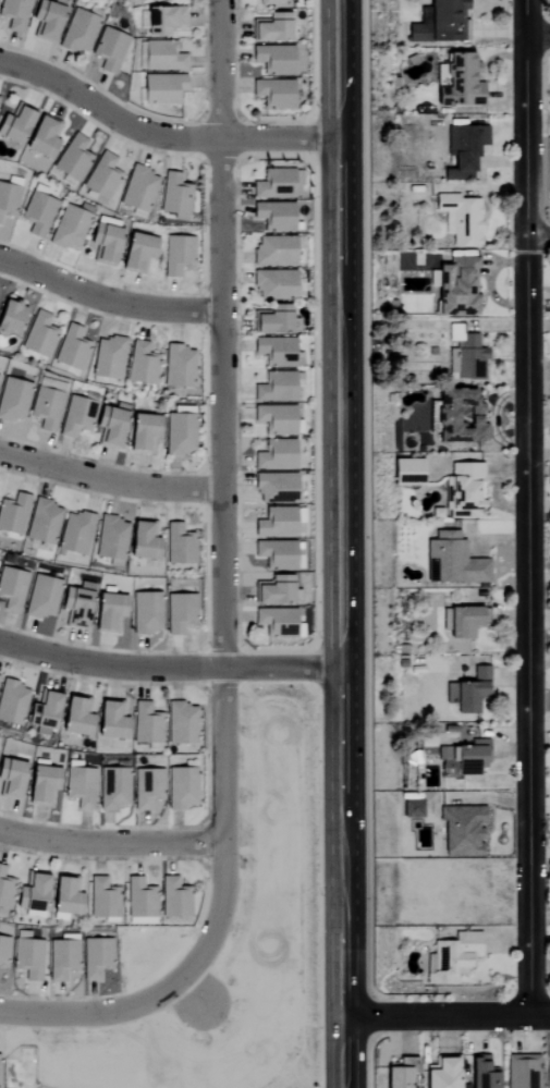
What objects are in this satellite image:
building: (143, 1)
building: (268, 2)
building: (13, 14)
building: (44, 21)
building: (163, 21)
building: (441, 24)
building: (269, 28)
building: (77, 33)
road: (538, 34)
building: (108, 50)
building: (162, 57)
building: (272, 60)
road: (219, 69)
road: (337, 69)
building: (161, 89)
building: (272, 94)
building: (14, 125)
road: (159, 136)
building: (40, 139)
building: (464, 151)
building: (72, 159)
building: (101, 178)
building: (277, 185)
building: (137, 190)
building: (173, 195)
building: (9, 197)
building: (36, 215)
building: (272, 217)
building: (68, 229)
road: (538, 239)
building: (102, 244)
building: (135, 253)
building: (272, 253)
building: (175, 256)
building: (272, 284)
building: (453, 286)
road: (108, 292)
building: (9, 315)
building: (270, 319)
building: (38, 334)
building: (71, 347)
building: (108, 357)
building: (465, 358)
building: (142, 364)
building: (178, 366)
building: (273, 387)
building: (12, 399)
road: (220, 404)
building: (44, 408)
building: (460, 415)
building: (74, 416)
building: (274, 418)
building: (109, 425)
building: (178, 430)
building: (140, 431)
building: (274, 455)
building: (407, 473)
road: (109, 480)
building: (273, 488)
building: (463, 490)
road: (526, 508)
building: (12, 514)
building: (41, 522)
building: (274, 523)
building: (73, 533)
building: (110, 540)
building: (142, 540)
building: (179, 545)
building: (276, 553)
building: (454, 560)
building: (11, 589)
building: (272, 590)
building: (40, 597)
building: (74, 604)
building: (107, 610)
building: (145, 612)
building: (178, 612)
road: (339, 613)
building: (274, 622)
building: (462, 622)
road: (110, 665)
road: (280, 670)
building: (465, 682)
building: (11, 702)
building: (41, 712)
building: (74, 717)
building: (109, 720)
building: (180, 723)
building: (145, 724)
building: (443, 755)
building: (466, 760)
building: (10, 779)
building: (39, 782)
building: (77, 785)
building: (145, 787)
building: (180, 787)
building: (111, 789)
road: (221, 815)
building: (461, 831)
road: (109, 844)
building: (4, 890)
building: (30, 895)
building: (63, 898)
building: (101, 898)
building: (139, 898)
building: (173, 898)
building: (2, 952)
building: (26, 956)
building: (61, 957)
building: (95, 957)
building: (450, 958)
road: (184, 993)
road: (107, 1006)
road: (445, 1017)
building: (523, 1071)
building: (441, 1073)
building: (480, 1074)

